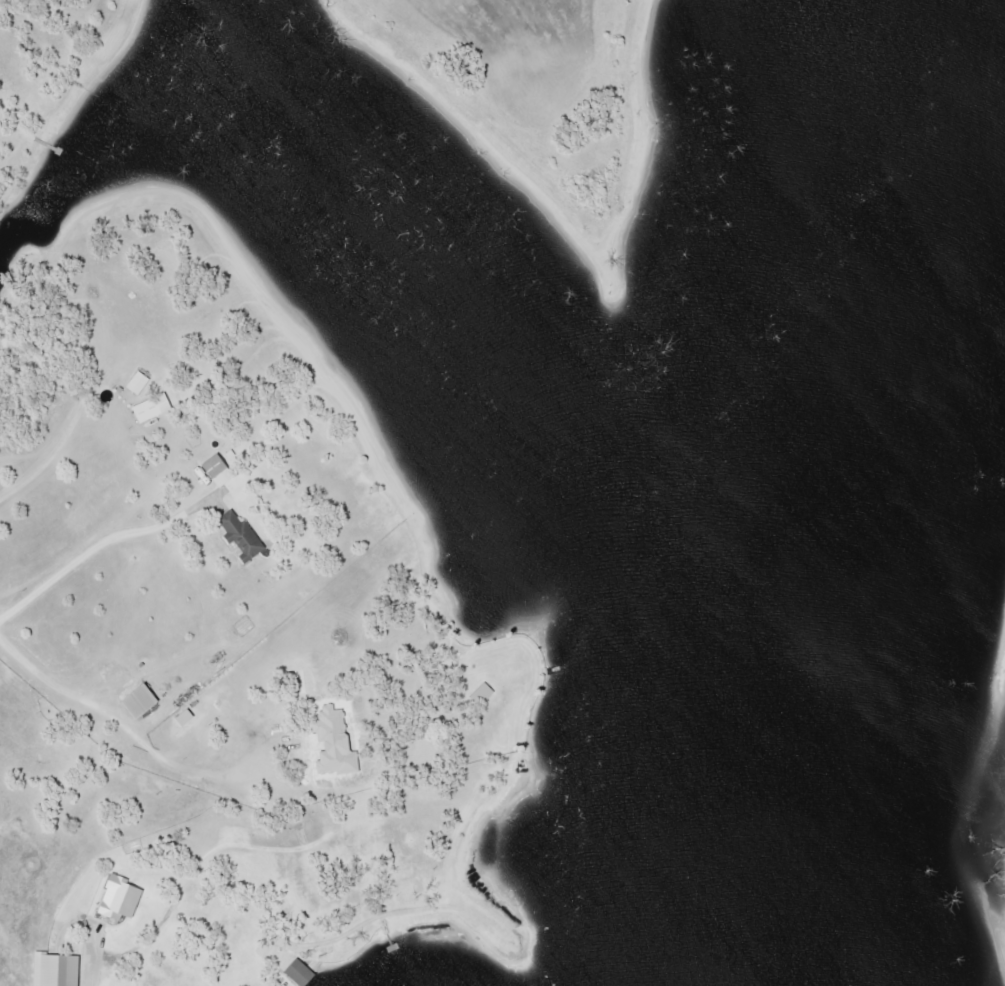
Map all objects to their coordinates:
building: (135, 381)
building: (148, 407)
road: (49, 454)
building: (212, 471)
building: (236, 535)
road: (104, 536)
river: (914, 568)
road: (28, 661)
building: (478, 694)
building: (134, 700)
building: (323, 714)
building: (291, 820)
building: (50, 969)
building: (293, 972)

